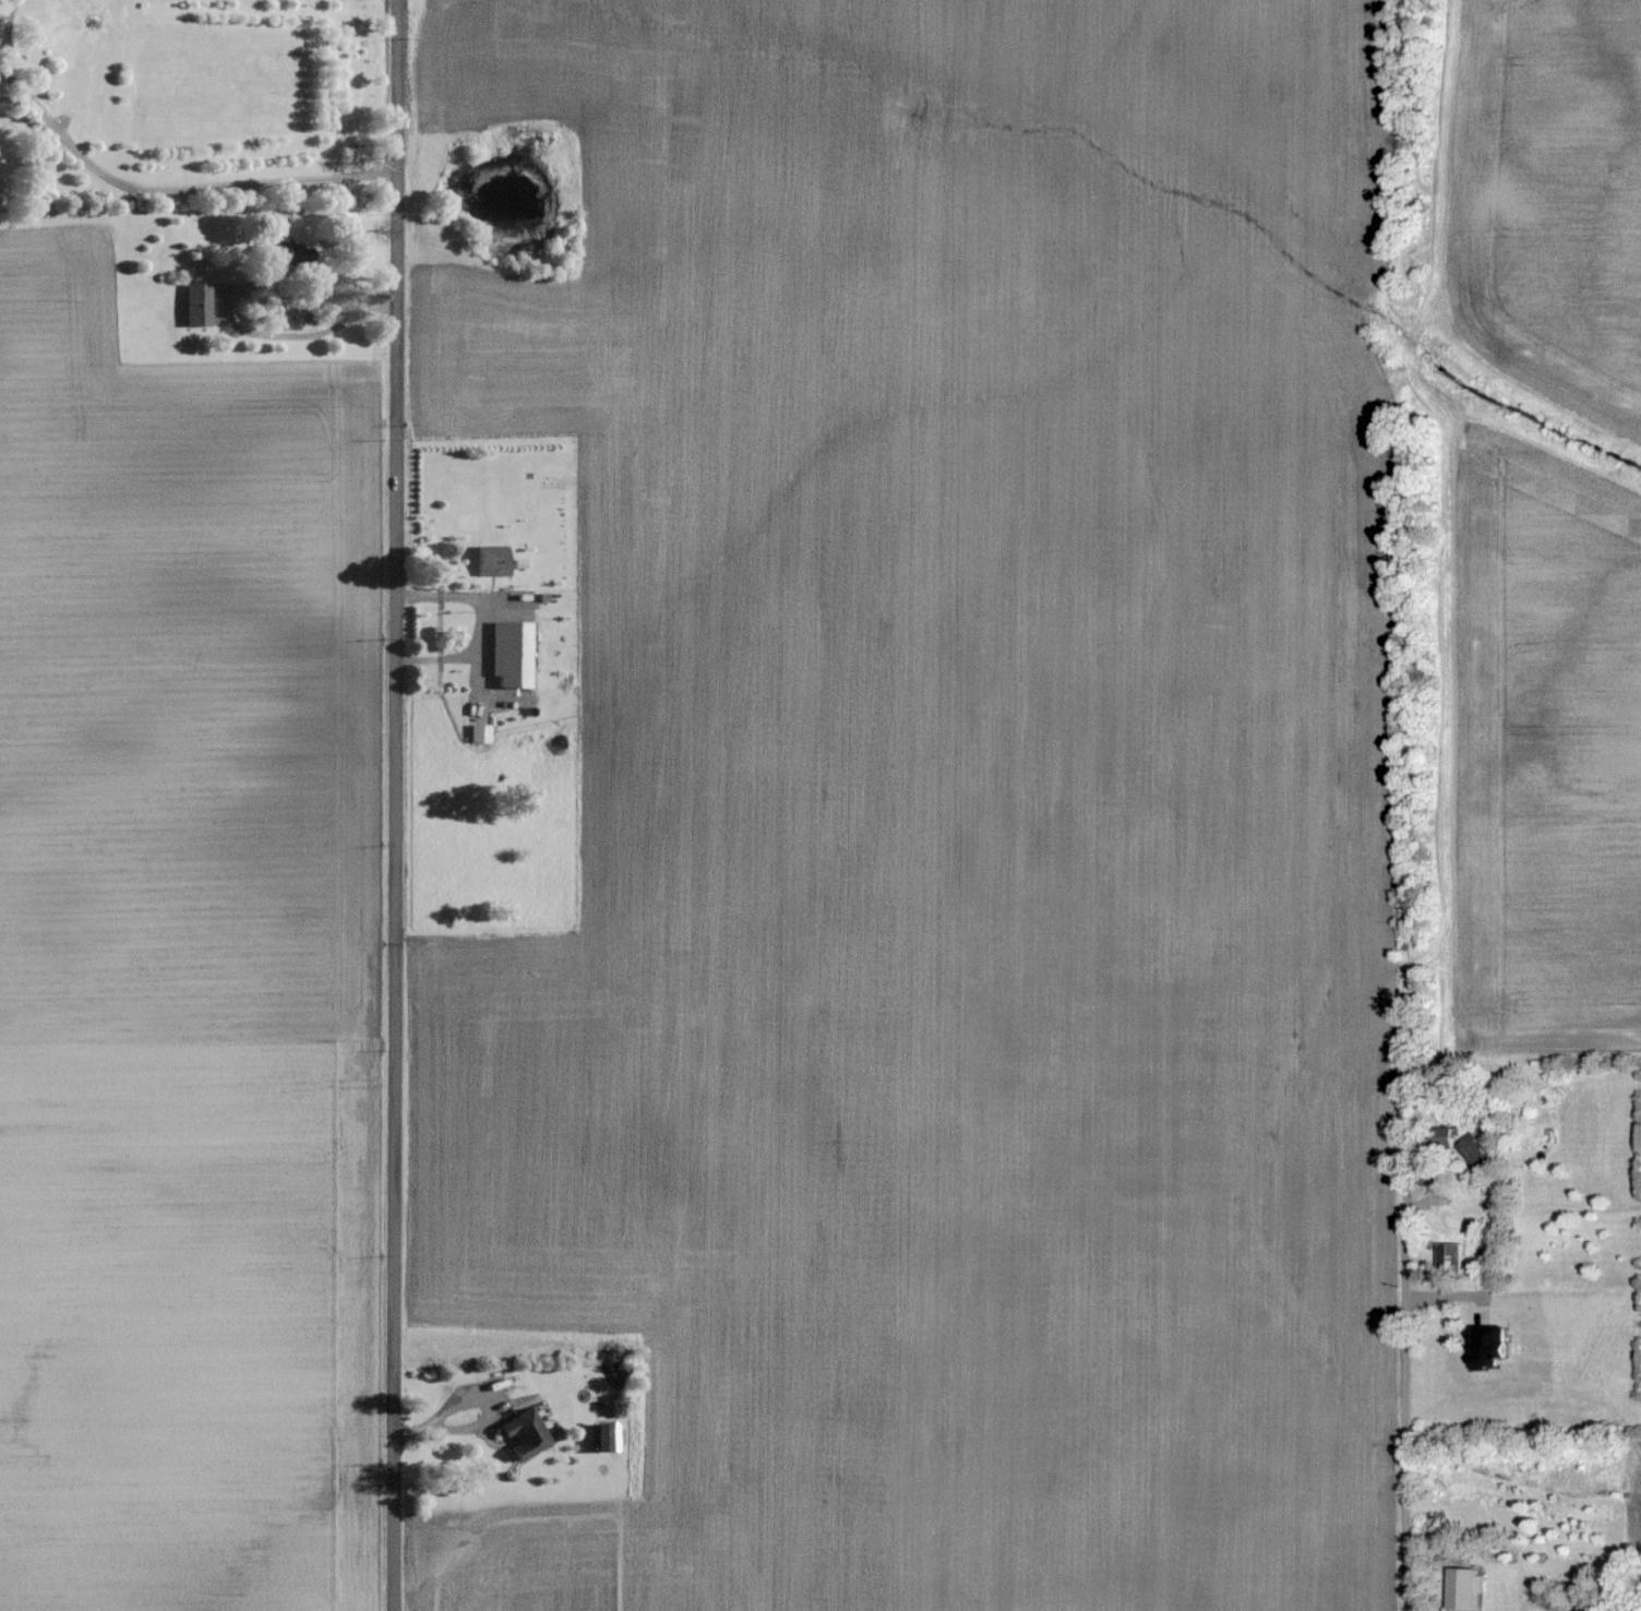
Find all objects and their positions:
road: (176, 194)
crop: (1533, 210)
building: (278, 251)
road: (230, 297)
building: (192, 305)
building: (490, 559)
road: (438, 595)
building: (527, 626)
building: (499, 643)
building: (517, 687)
building: (476, 733)
crop: (1518, 744)
crop: (945, 802)
road: (394, 804)
building: (1421, 933)
road: (1402, 1013)
building: (1445, 1135)
building: (1478, 1153)
building: (1450, 1256)
building: (1486, 1345)
road: (513, 1358)
road: (1408, 1393)
road: (455, 1403)
crop: (1640, 1403)
building: (522, 1432)
building: (602, 1435)
crop: (1549, 1465)
building: (1464, 1586)

